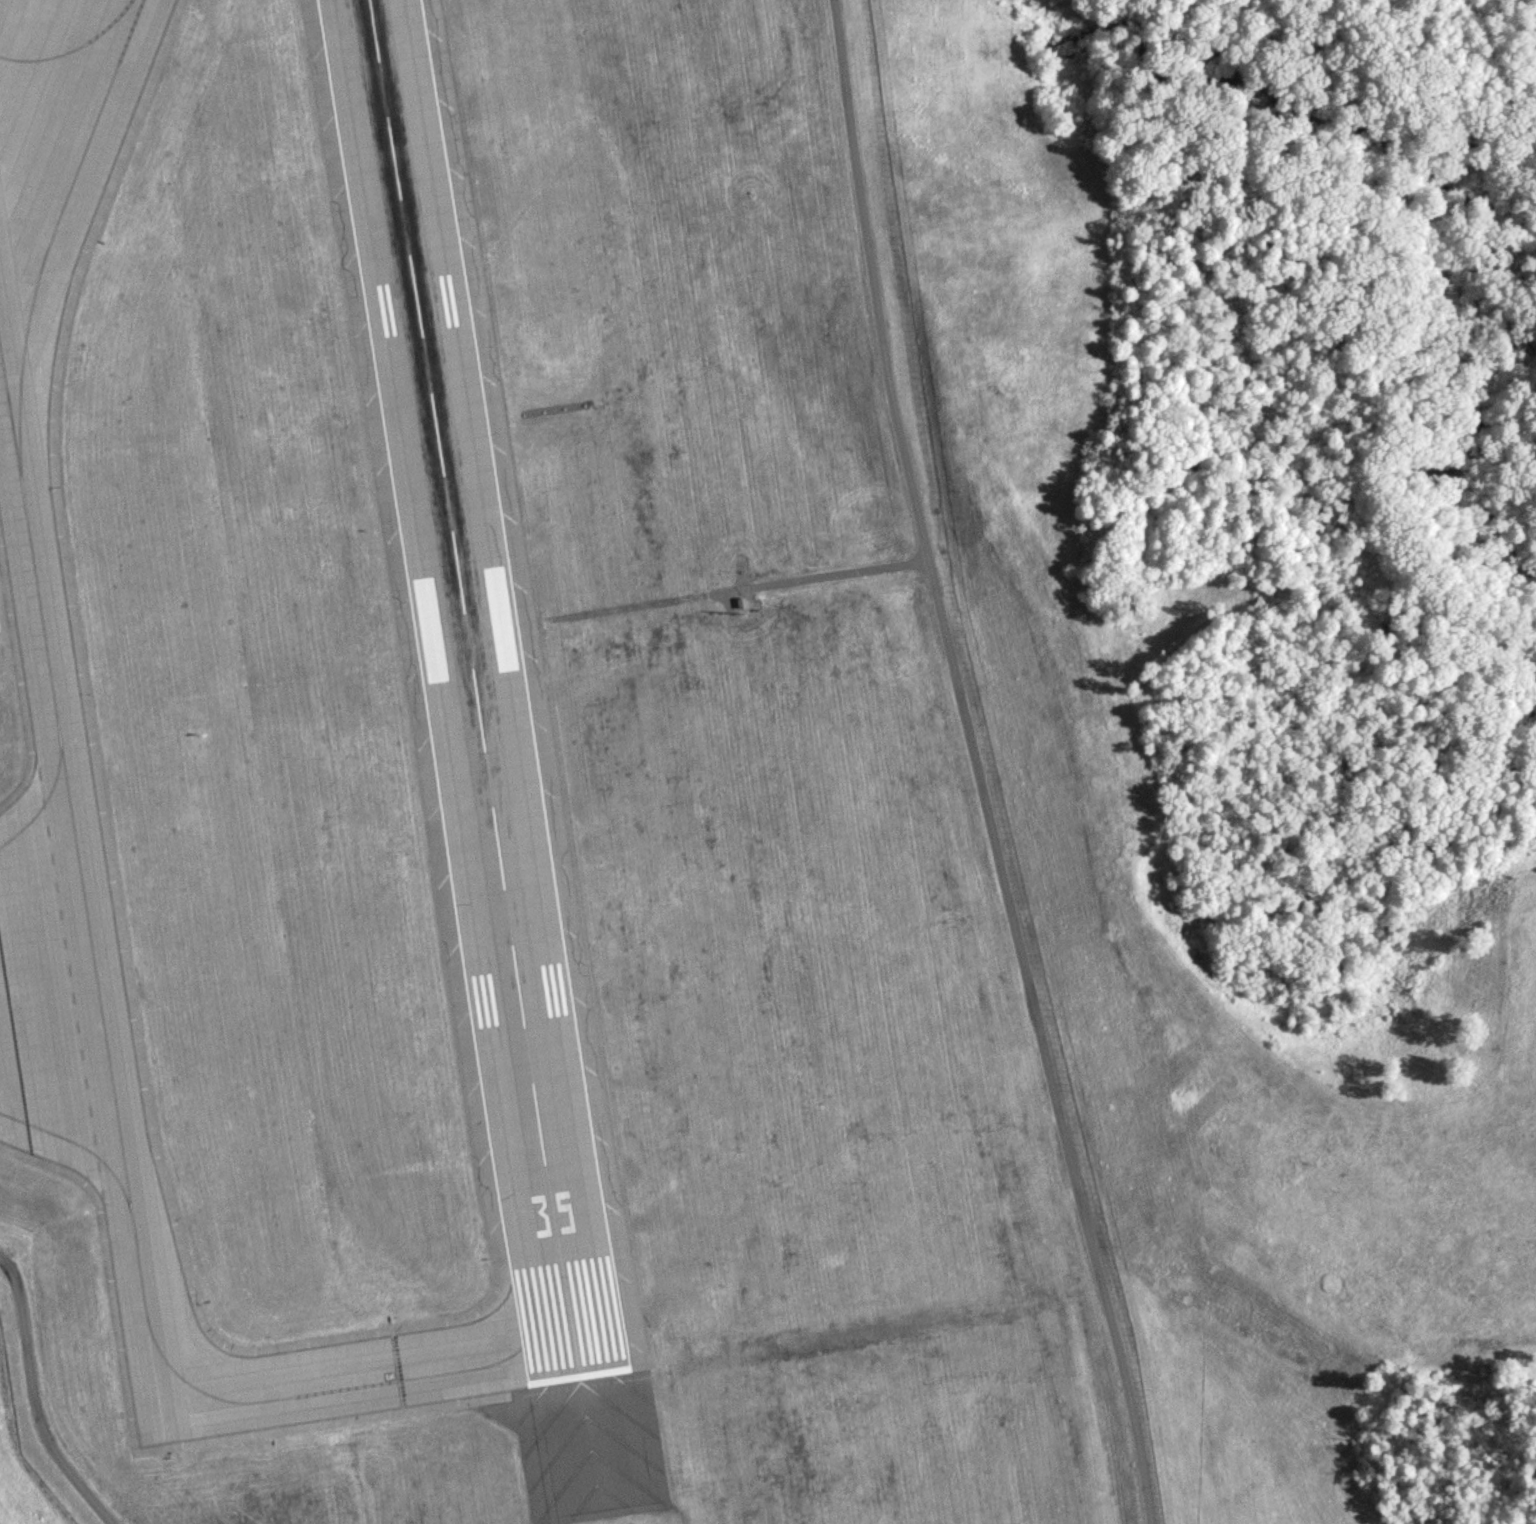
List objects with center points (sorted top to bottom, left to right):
airport taxiway: (76, 50)
airport taxiway: (57, 225)
road: (1408, 602)
airport runway: (475, 687)
road: (977, 764)
airport: (508, 799)
airport taxiway: (41, 806)
airport taxiway: (73, 825)
airport taxiway: (76, 1143)
airport taxiway: (358, 1385)
road: (35, 1399)

